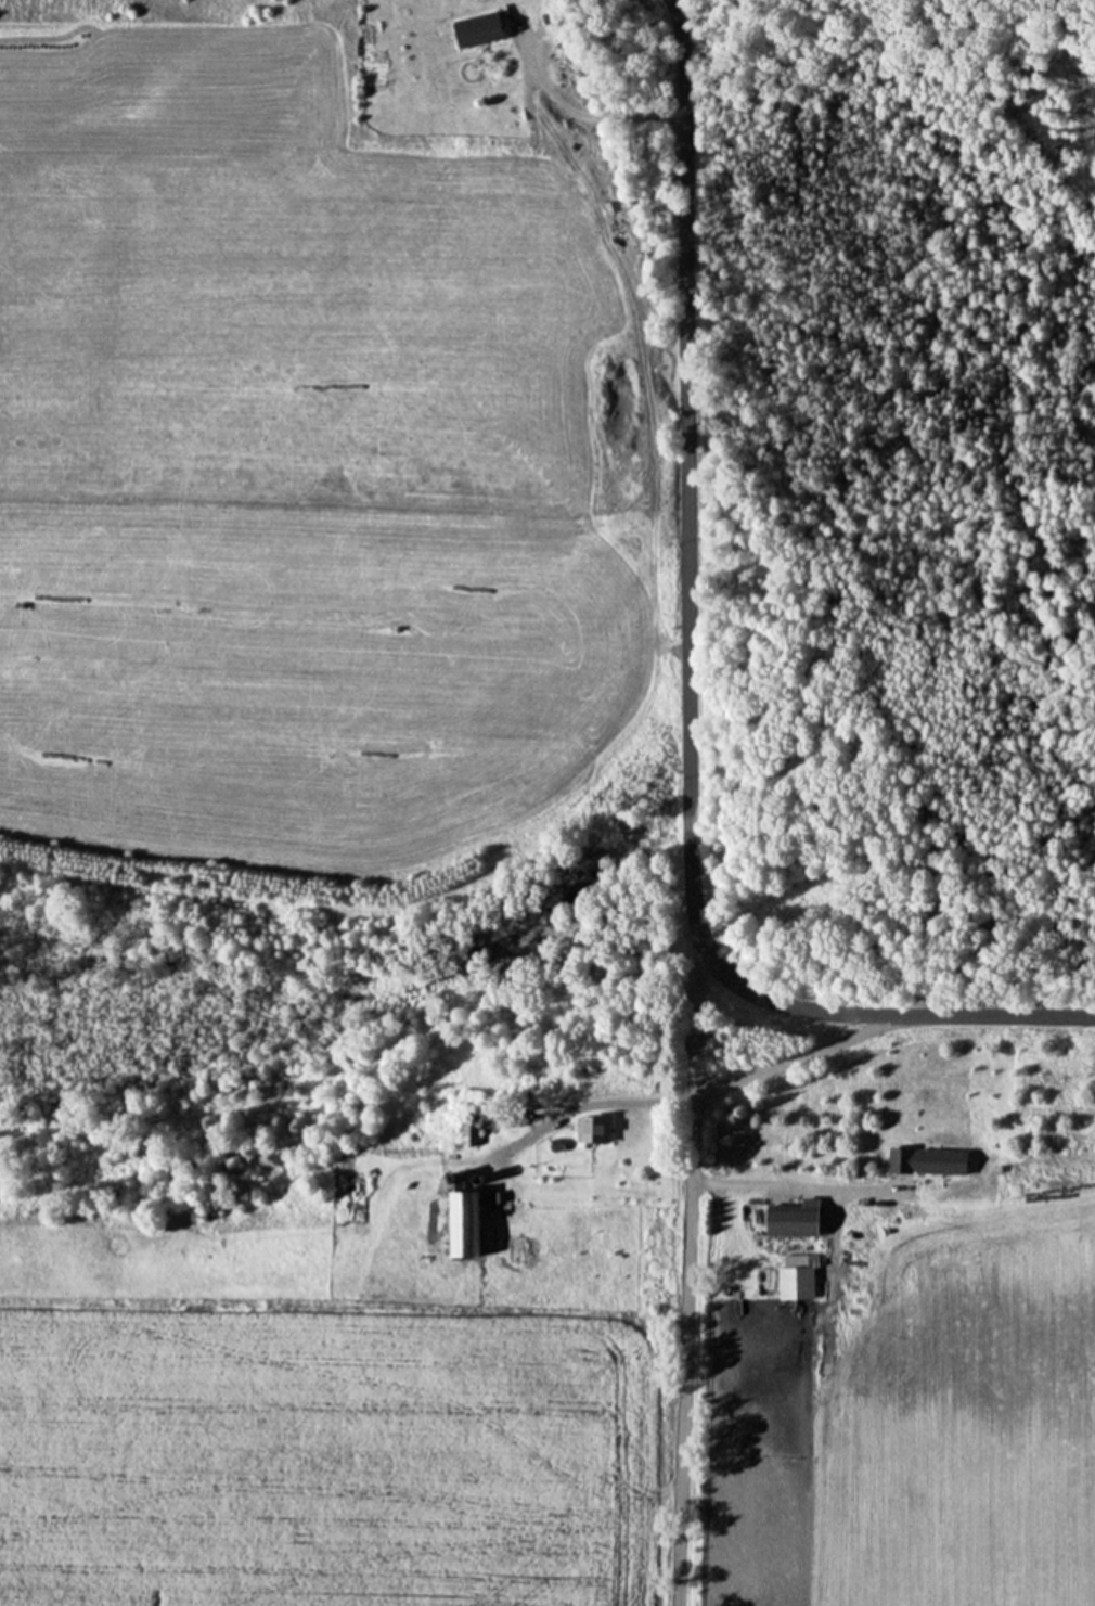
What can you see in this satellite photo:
building: (472, 30)
road: (591, 118)
road: (685, 682)
road: (795, 1059)
road: (587, 1105)
building: (577, 1130)
building: (899, 1161)
building: (344, 1198)
road: (685, 1269)

